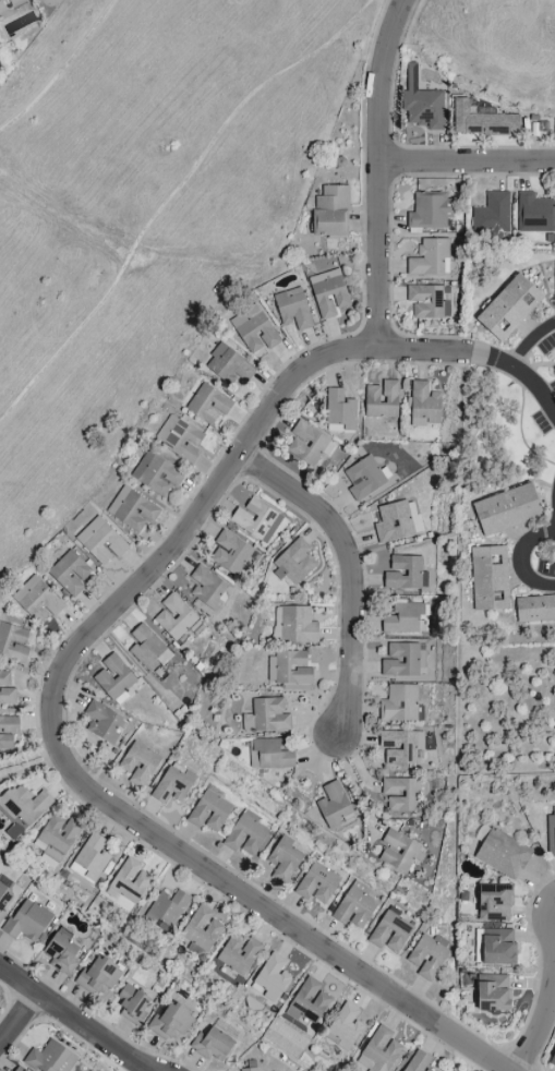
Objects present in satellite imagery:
building: (9, 8)
road: (480, 57)
building: (421, 101)
building: (482, 119)
road: (466, 160)
road: (376, 175)
road: (126, 188)
building: (429, 212)
building: (330, 213)
building: (534, 214)
building: (492, 216)
building: (429, 257)
building: (328, 293)
building: (429, 301)
building: (508, 308)
building: (292, 309)
building: (254, 332)
road: (532, 344)
building: (229, 365)
road: (539, 387)
building: (382, 399)
building: (208, 404)
building: (424, 405)
building: (339, 411)
building: (179, 438)
building: (305, 444)
building: (156, 474)
building: (364, 477)
building: (132, 509)
building: (506, 509)
building: (255, 520)
building: (397, 521)
building: (100, 541)
building: (230, 553)
road: (519, 559)
building: (293, 563)
road: (349, 573)
building: (70, 574)
building: (488, 578)
building: (207, 587)
building: (37, 600)
building: (534, 609)
building: (174, 617)
building: (405, 619)
building: (297, 625)
building: (4, 642)
building: (147, 649)
building: (400, 661)
building: (289, 669)
building: (114, 679)
road: (60, 684)
building: (7, 690)
building: (399, 703)
building: (269, 715)
building: (102, 722)
building: (8, 731)
building: (400, 746)
building: (269, 755)
road: (31, 757)
building: (138, 765)
road: (32, 769)
road: (351, 779)
building: (173, 785)
building: (400, 794)
building: (333, 805)
building: (22, 808)
building: (209, 810)
building: (246, 835)
building: (57, 837)
building: (551, 837)
building: (398, 852)
building: (503, 854)
building: (89, 859)
building: (283, 859)
building: (130, 881)
building: (317, 883)
building: (4, 898)
building: (494, 903)
building: (354, 906)
building: (168, 908)
building: (202, 929)
building: (390, 931)
building: (494, 947)
building: (239, 953)
building: (61, 954)
building: (427, 956)
building: (98, 977)
building: (270, 978)
road: (550, 989)
building: (493, 992)
building: (309, 1002)
building: (132, 1003)
road: (19, 1015)
road: (74, 1020)
building: (170, 1023)
building: (345, 1027)
building: (212, 1045)
building: (379, 1051)
building: (50, 1058)
building: (418, 1062)
building: (19, 1069)
building: (250, 1070)

